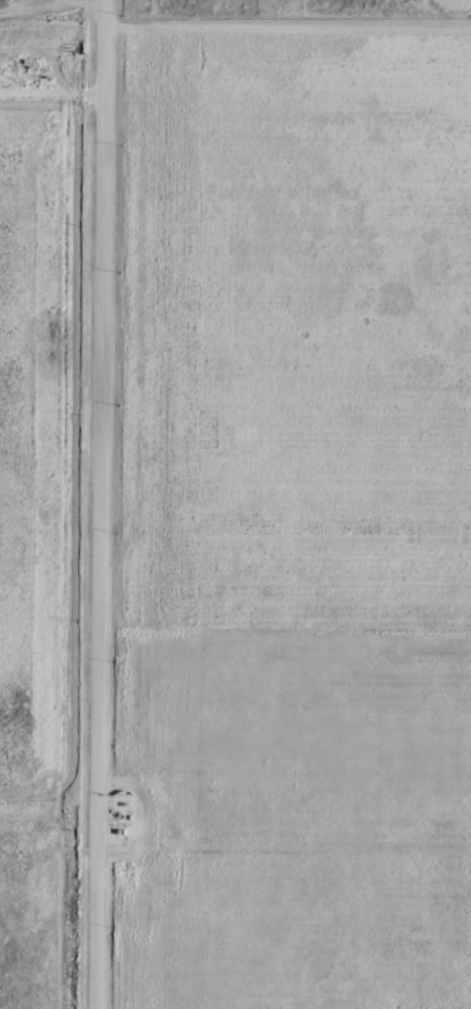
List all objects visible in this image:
road: (101, 504)

